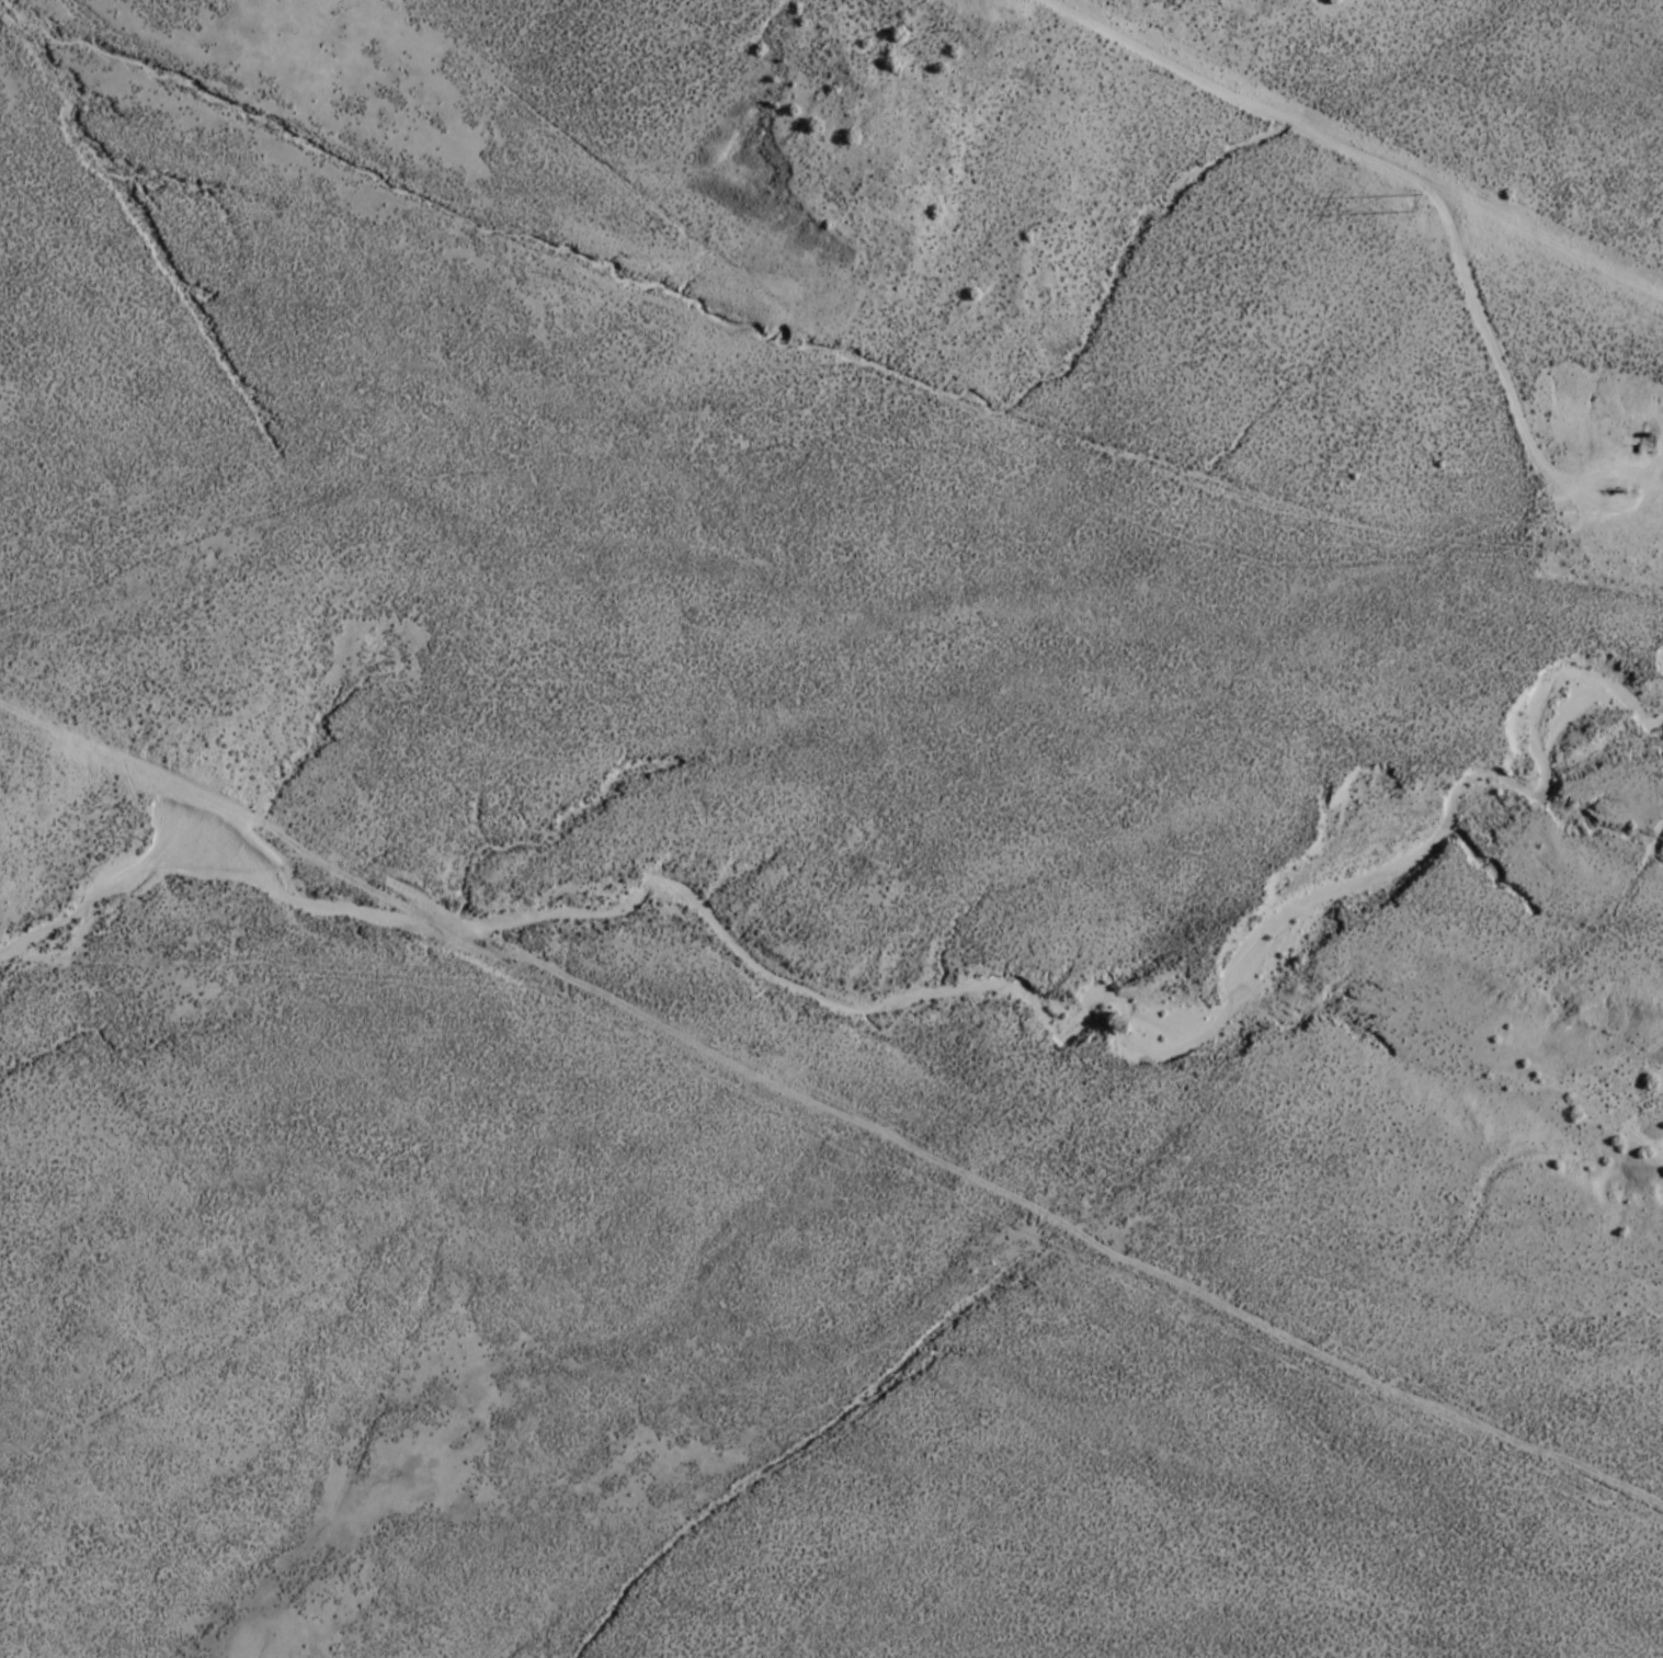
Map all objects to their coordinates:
power tower: (1414, 209)
road: (845, 363)

